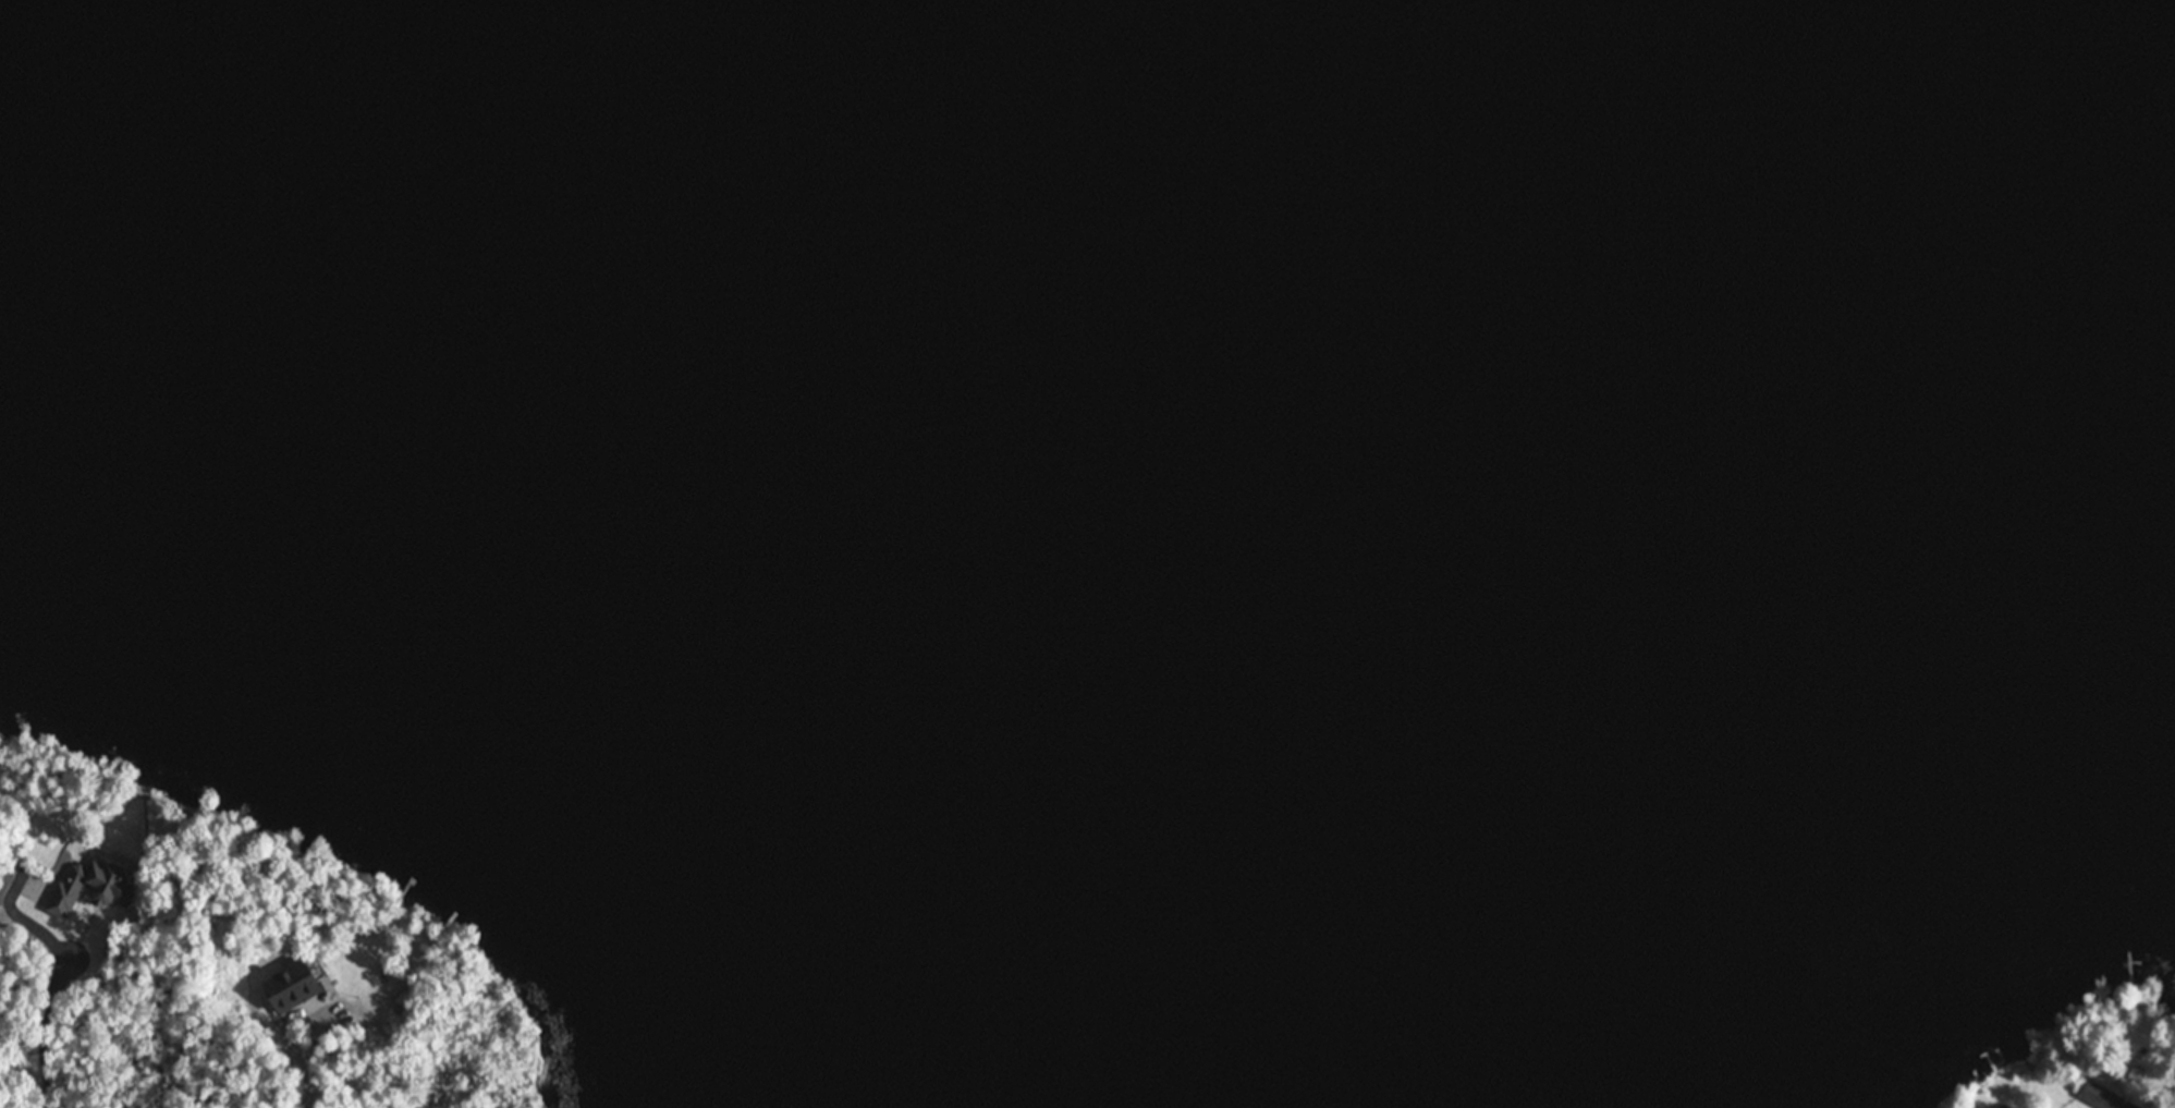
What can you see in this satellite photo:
river: (1247, 592)
building: (91, 888)
building: (293, 985)
building: (2100, 1096)

